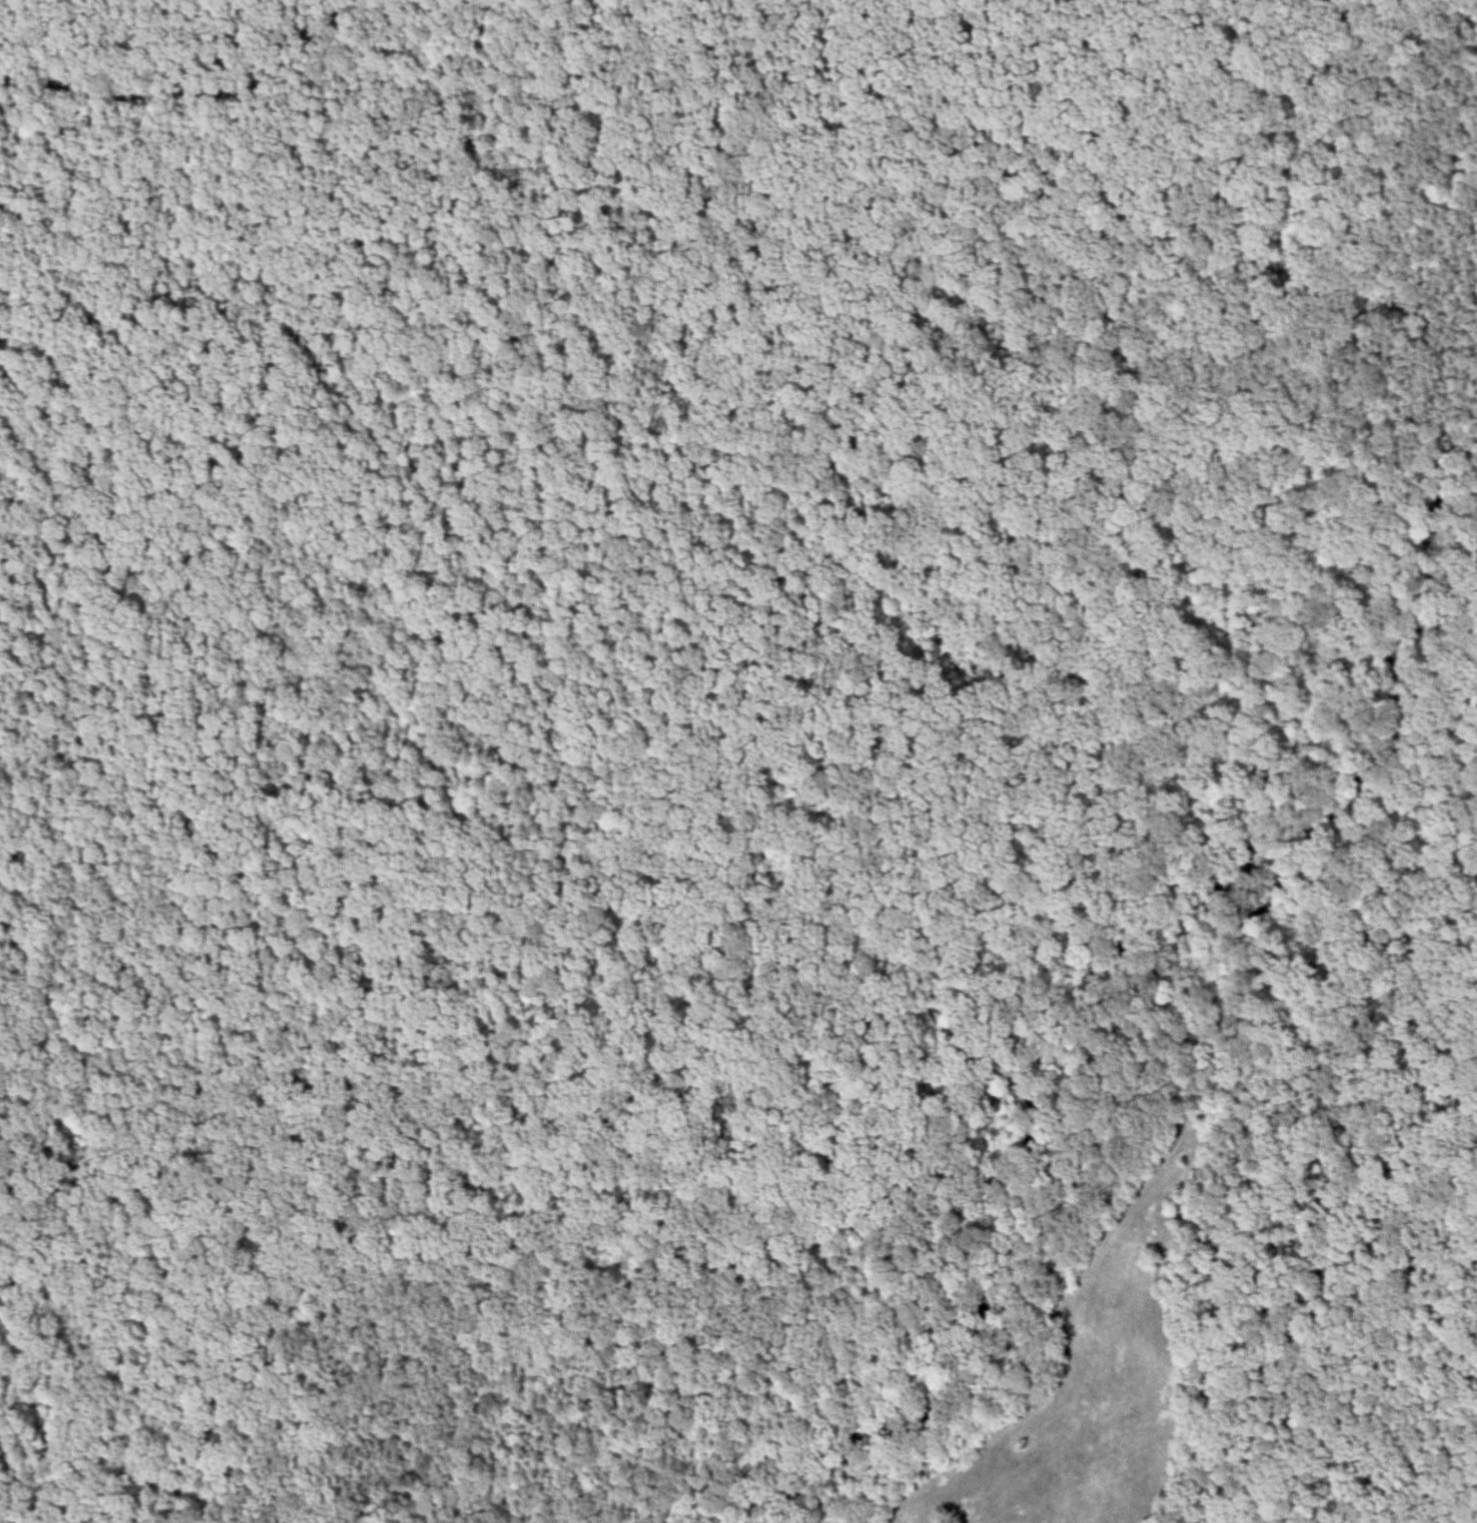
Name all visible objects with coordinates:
road: (190, 92)

